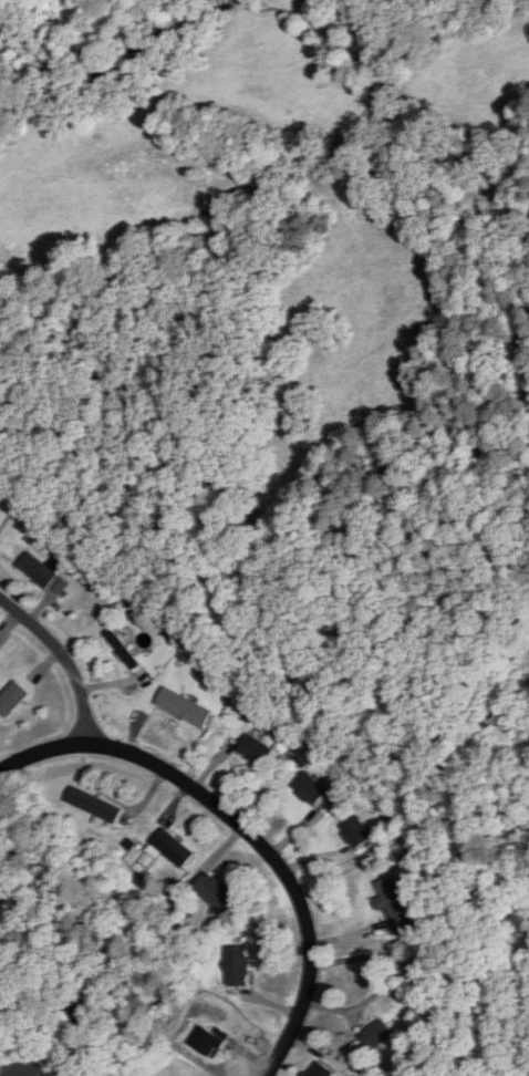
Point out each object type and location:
building: (44, 573)
building: (124, 650)
road: (66, 659)
building: (13, 700)
building: (186, 707)
building: (257, 751)
building: (311, 789)
building: (96, 806)
road: (243, 832)
building: (355, 834)
building: (173, 849)
building: (215, 892)
building: (396, 906)
building: (239, 966)
building: (378, 1035)
building: (321, 1070)

